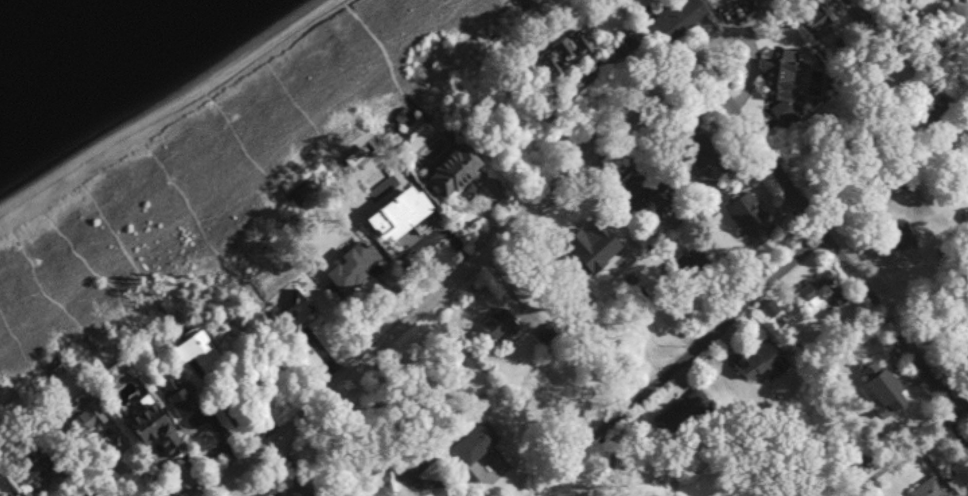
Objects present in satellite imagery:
road: (534, 2)
building: (680, 20)
road: (379, 45)
building: (571, 52)
building: (787, 74)
building: (546, 105)
road: (302, 107)
building: (787, 111)
road: (245, 150)
building: (456, 170)
building: (647, 186)
building: (306, 189)
road: (569, 190)
road: (183, 196)
building: (754, 217)
building: (403, 220)
building: (907, 238)
building: (600, 239)
road: (120, 240)
road: (830, 240)
building: (698, 259)
road: (96, 265)
building: (361, 265)
road: (780, 268)
building: (827, 289)
road: (46, 291)
building: (297, 307)
building: (773, 308)
building: (504, 324)
road: (16, 333)
building: (967, 340)
building: (199, 349)
building: (765, 361)
building: (891, 385)
building: (184, 394)
building: (686, 411)
building: (89, 414)
road: (957, 417)
building: (161, 427)
building: (481, 441)
road: (283, 445)
road: (384, 457)
building: (36, 469)
road: (82, 487)
building: (937, 487)
building: (305, 489)
building: (22, 495)

